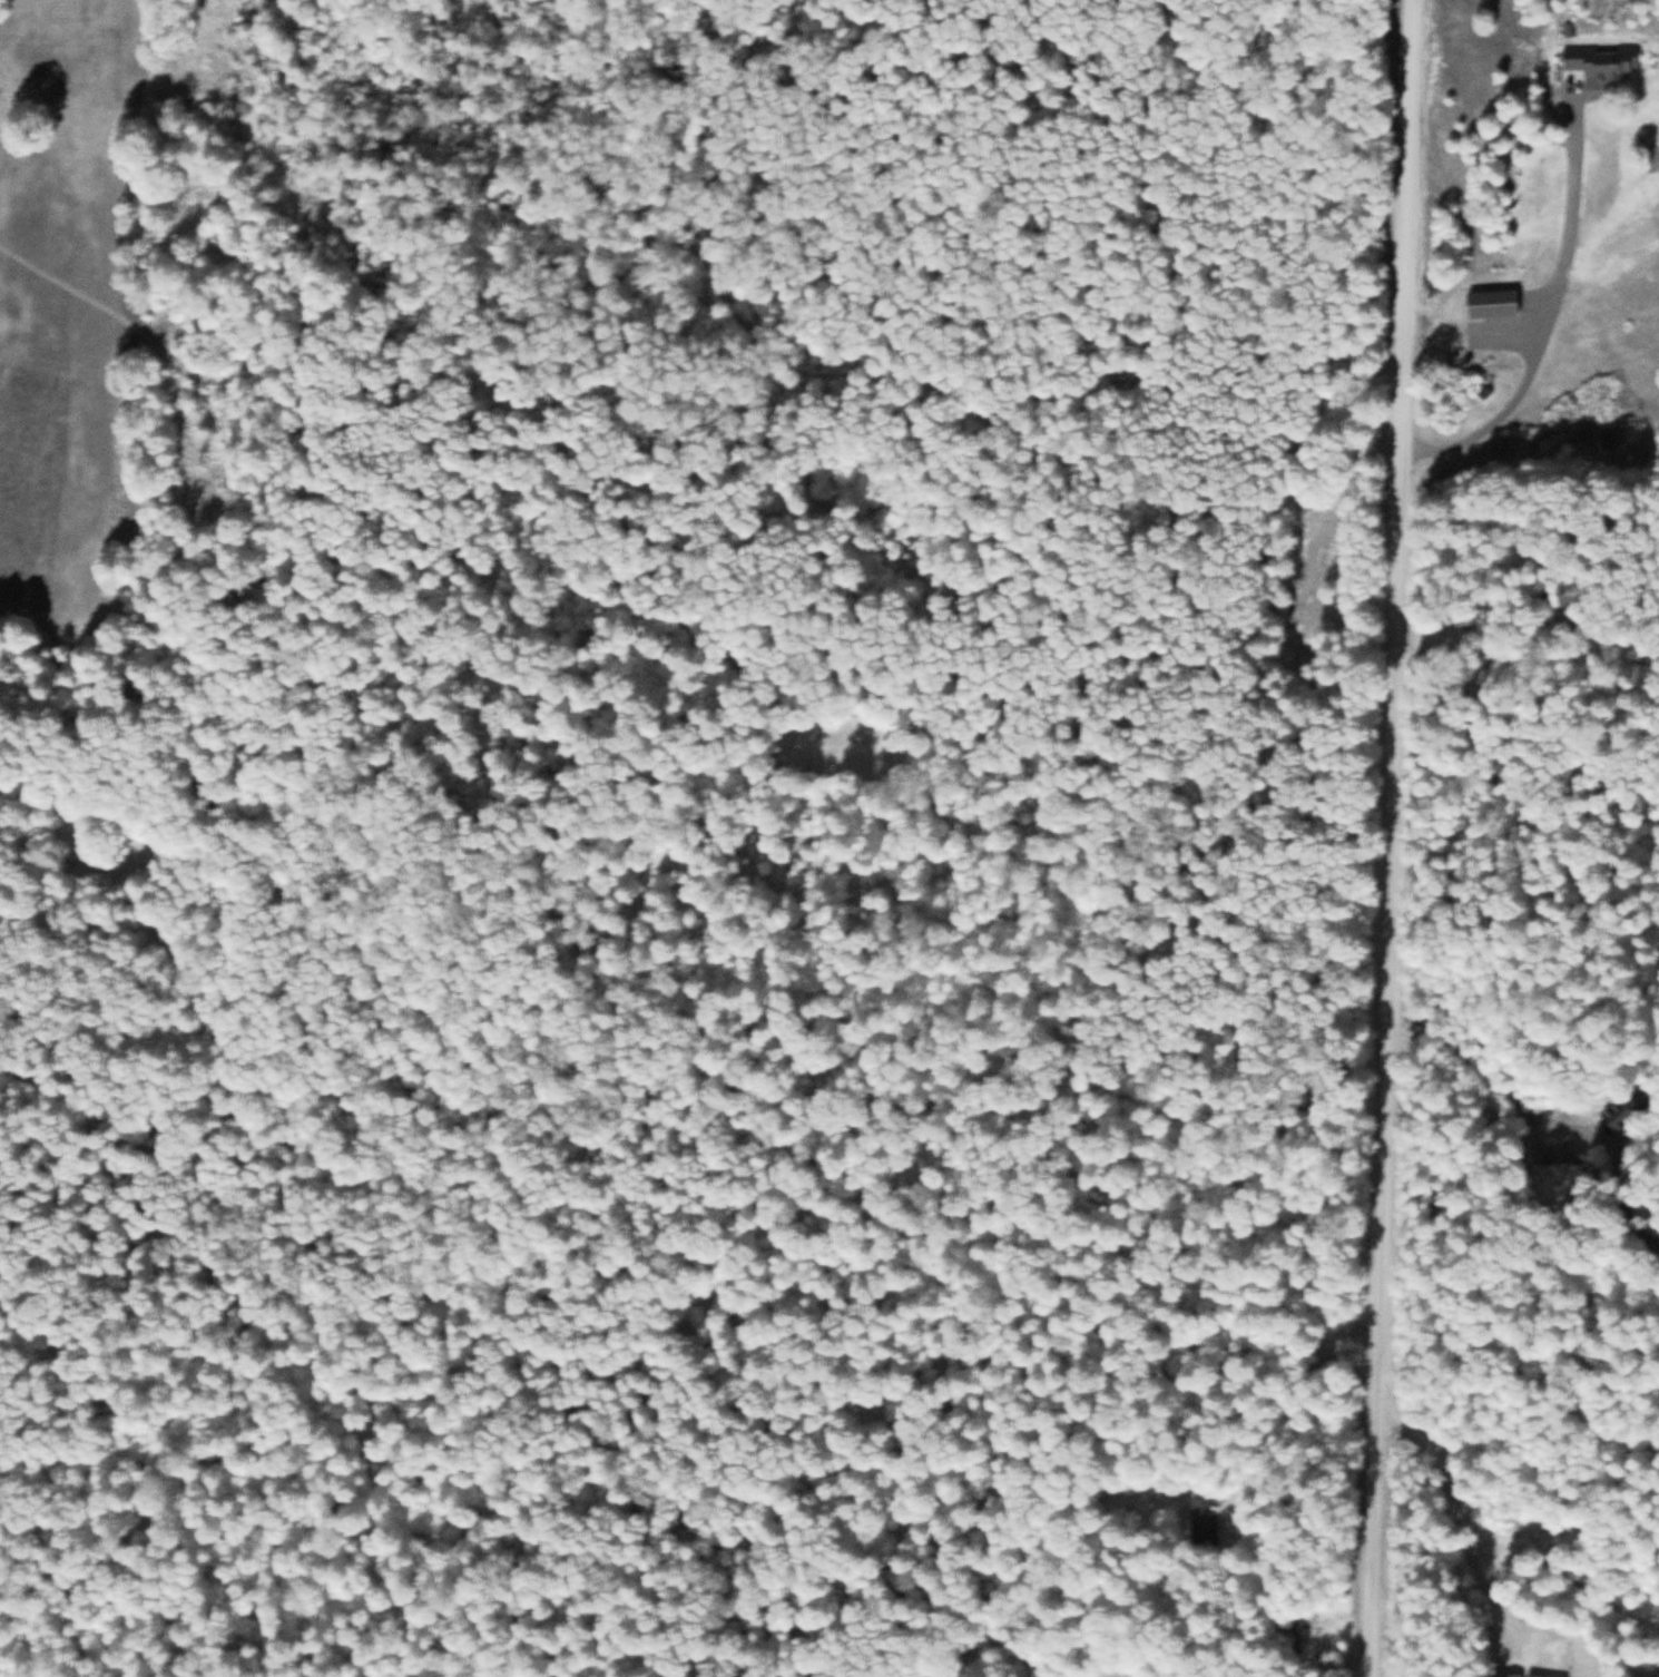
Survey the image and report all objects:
building: (1604, 61)
road: (1401, 838)
road: (1255, 1449)
building: (1207, 1520)
building: (1531, 1675)

